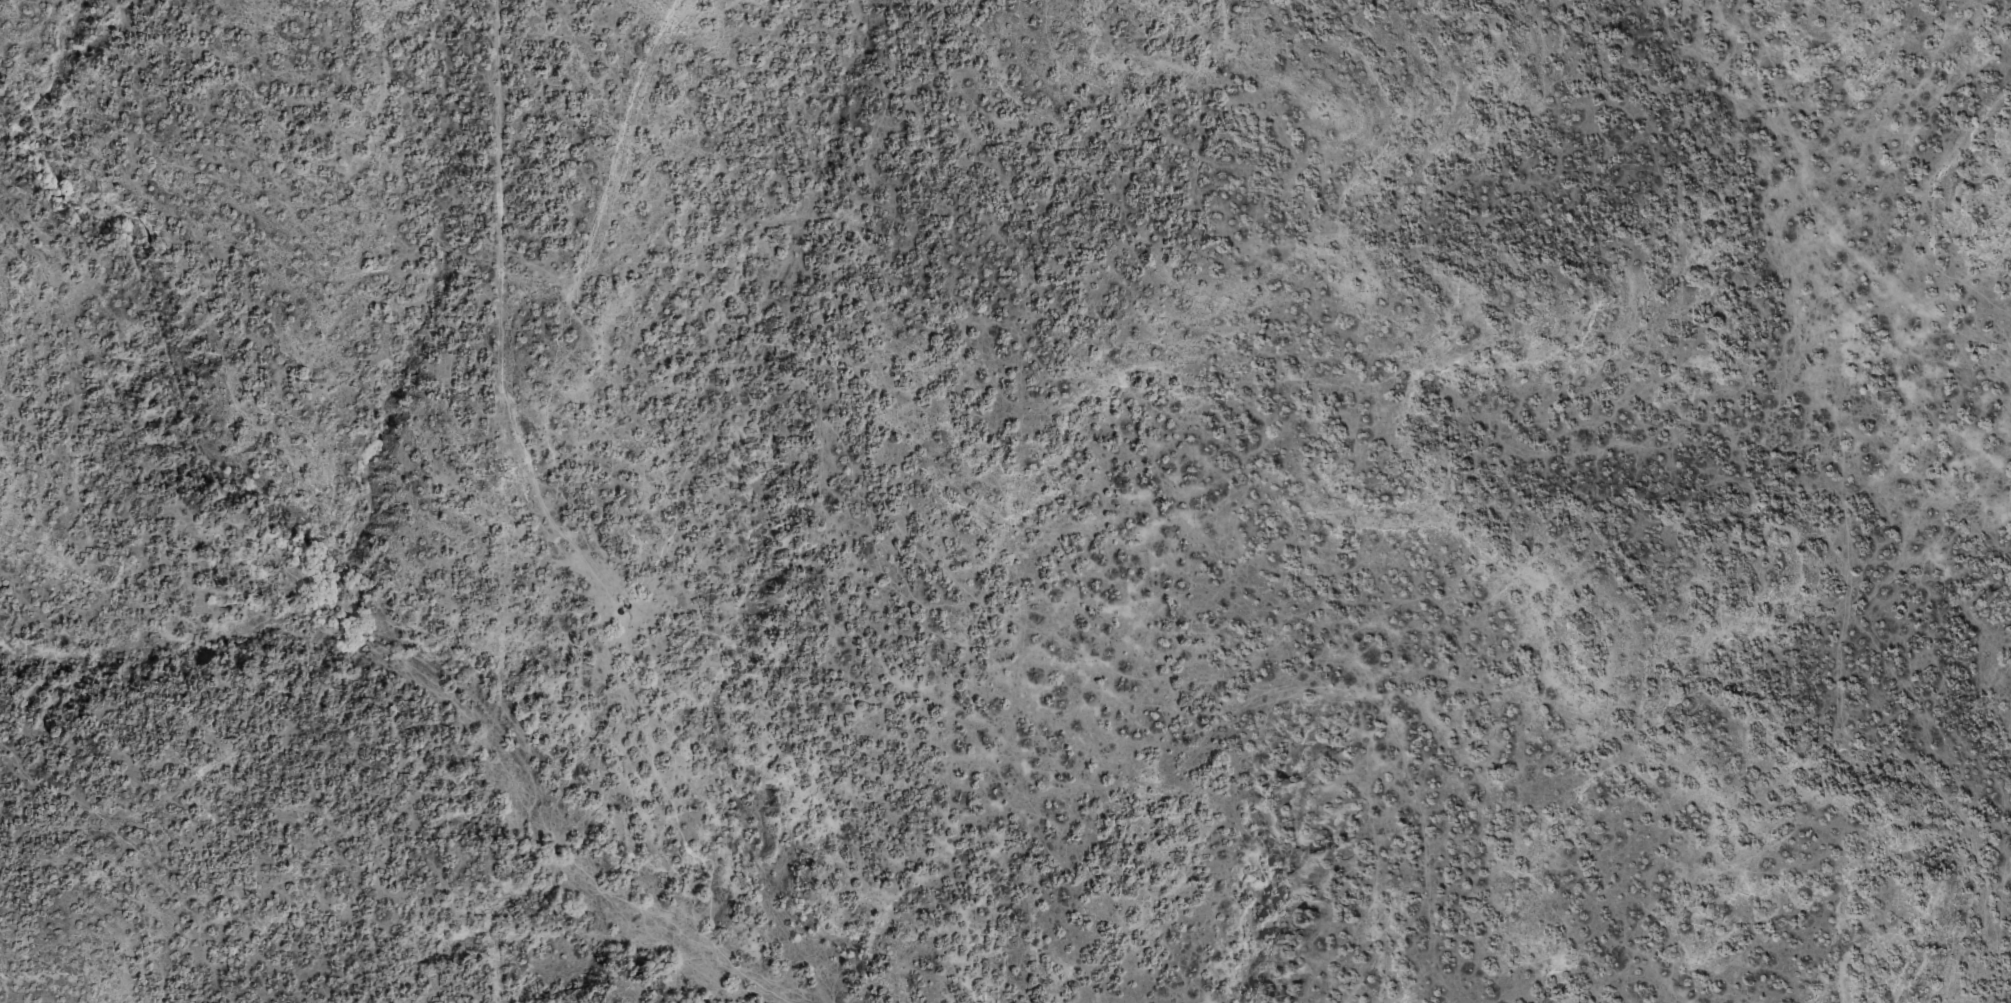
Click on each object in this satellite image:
road: (1959, 223)

